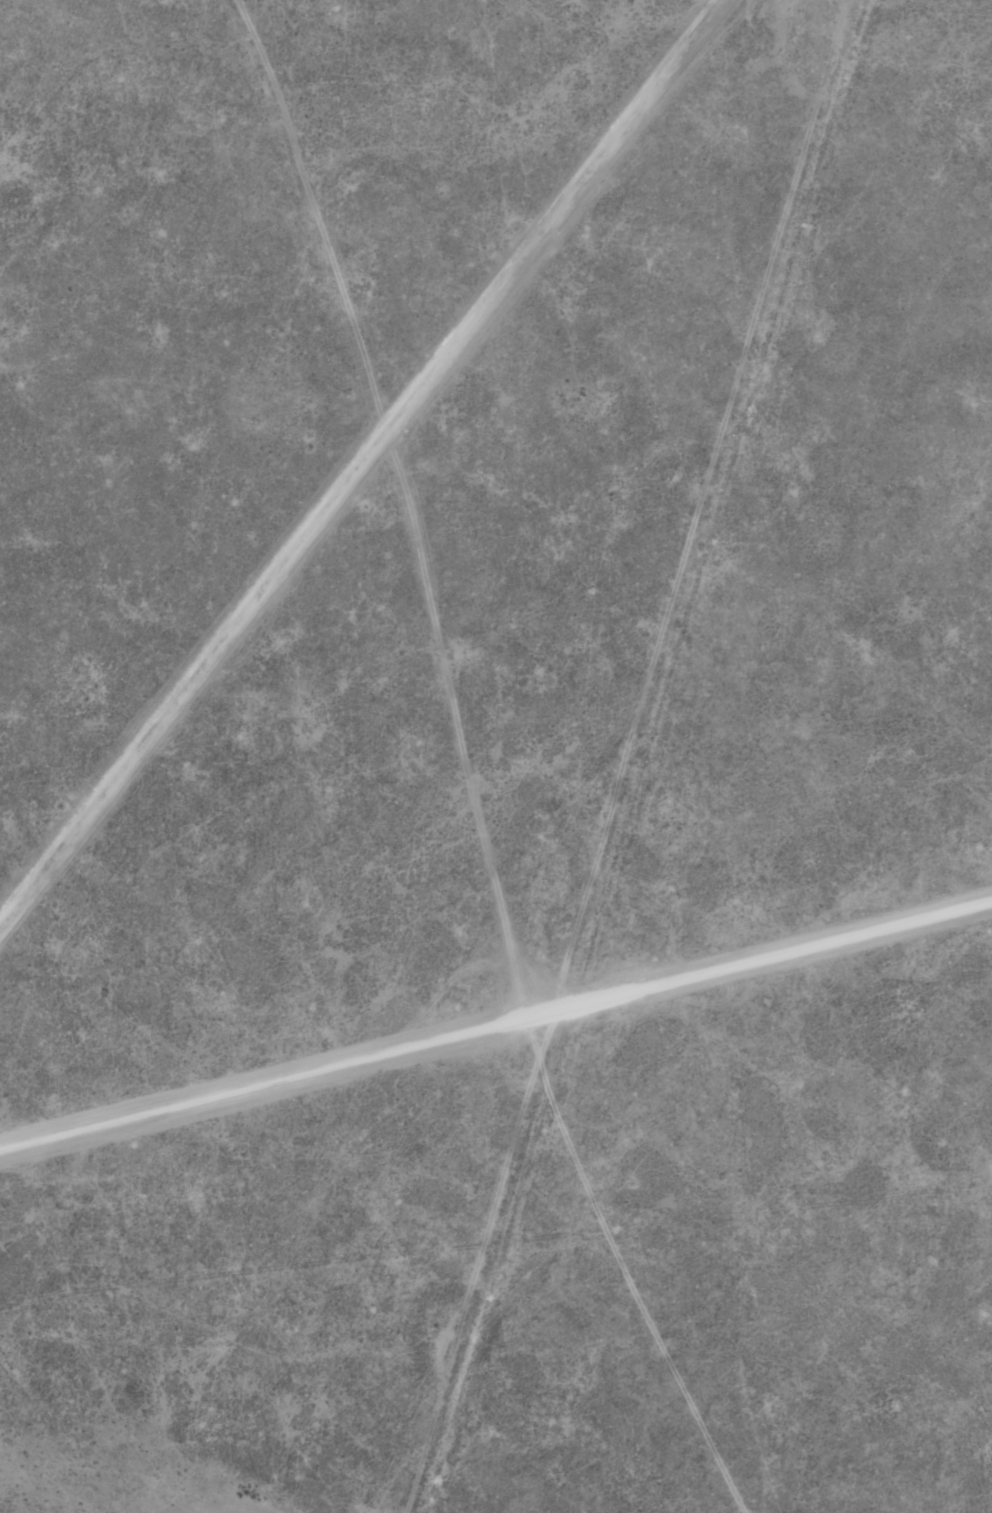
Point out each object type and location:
road: (496, 1024)

